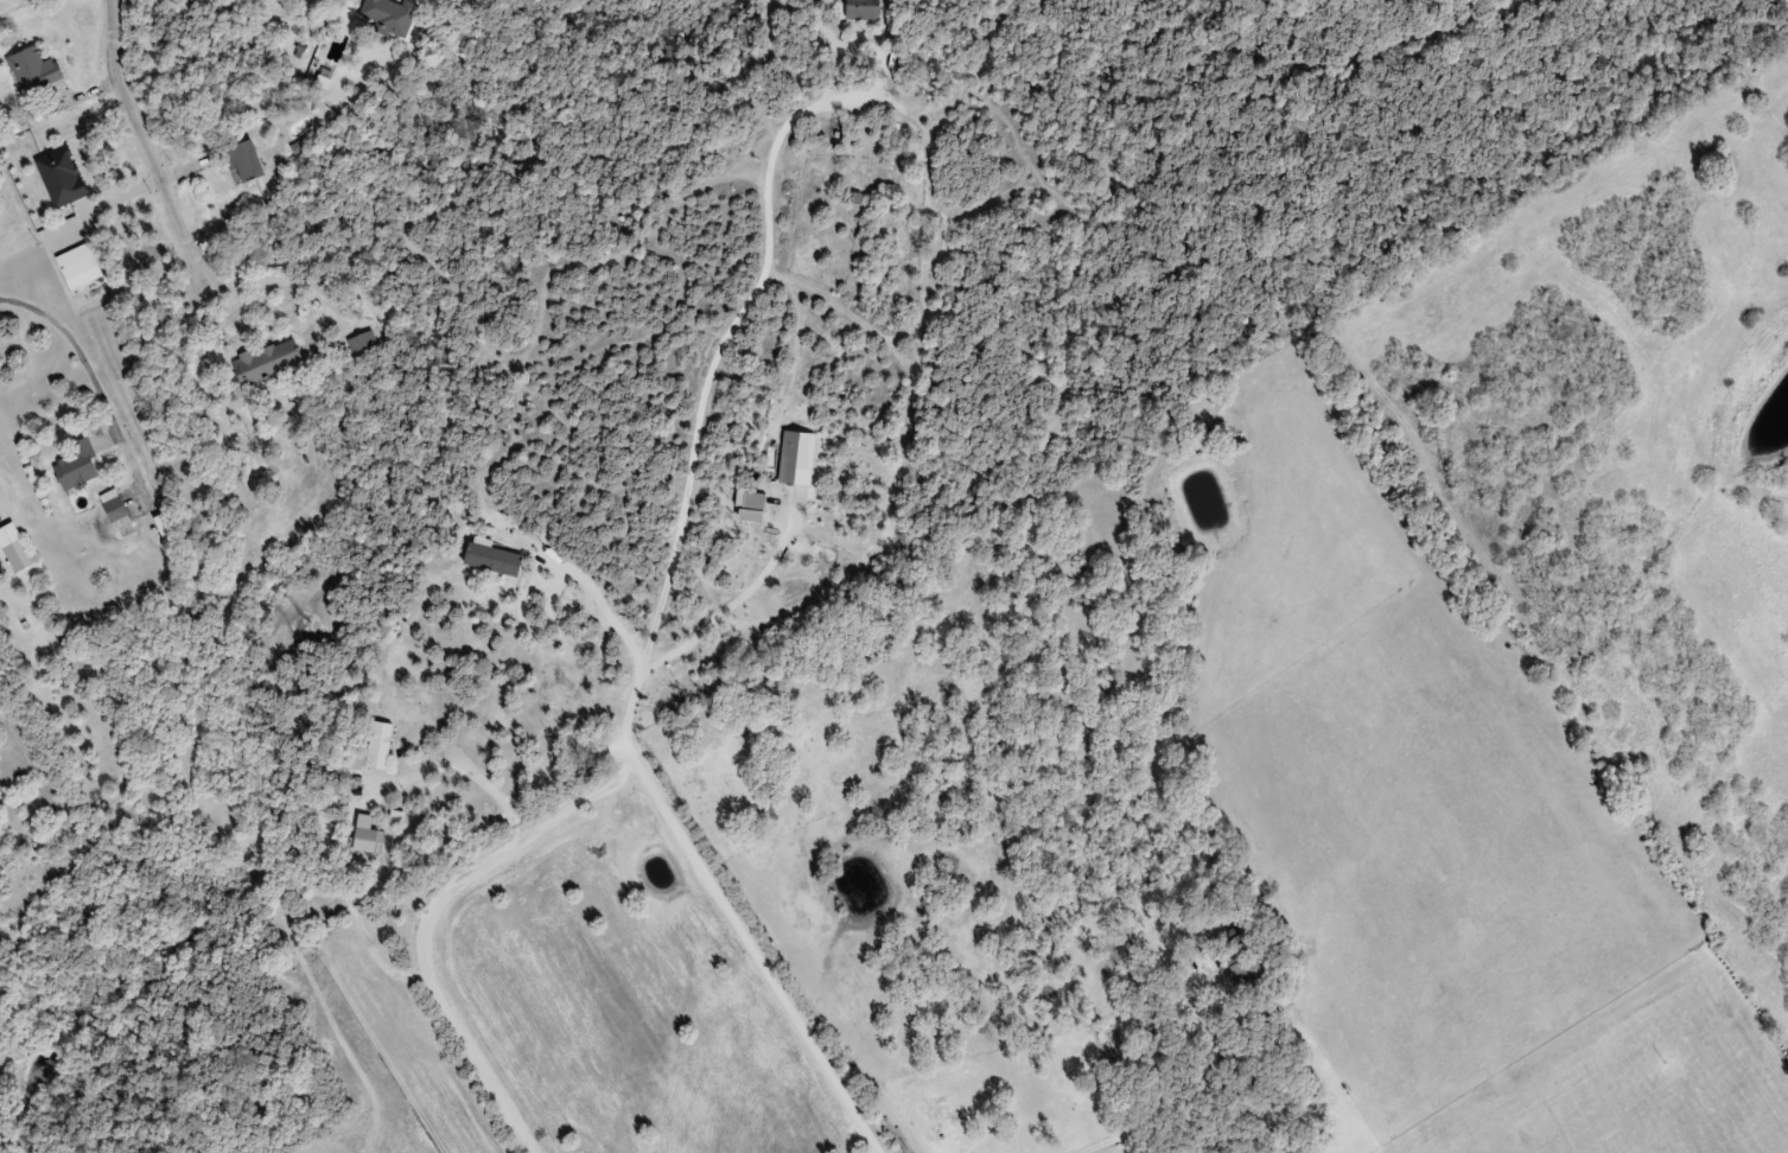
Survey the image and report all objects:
building: (863, 8)
building: (389, 15)
building: (34, 69)
road: (153, 142)
building: (246, 160)
building: (362, 340)
building: (267, 361)
building: (81, 460)
building: (115, 508)
building: (18, 554)
building: (380, 744)
building: (368, 834)
building: (1247, 963)
road: (1087, 1023)

